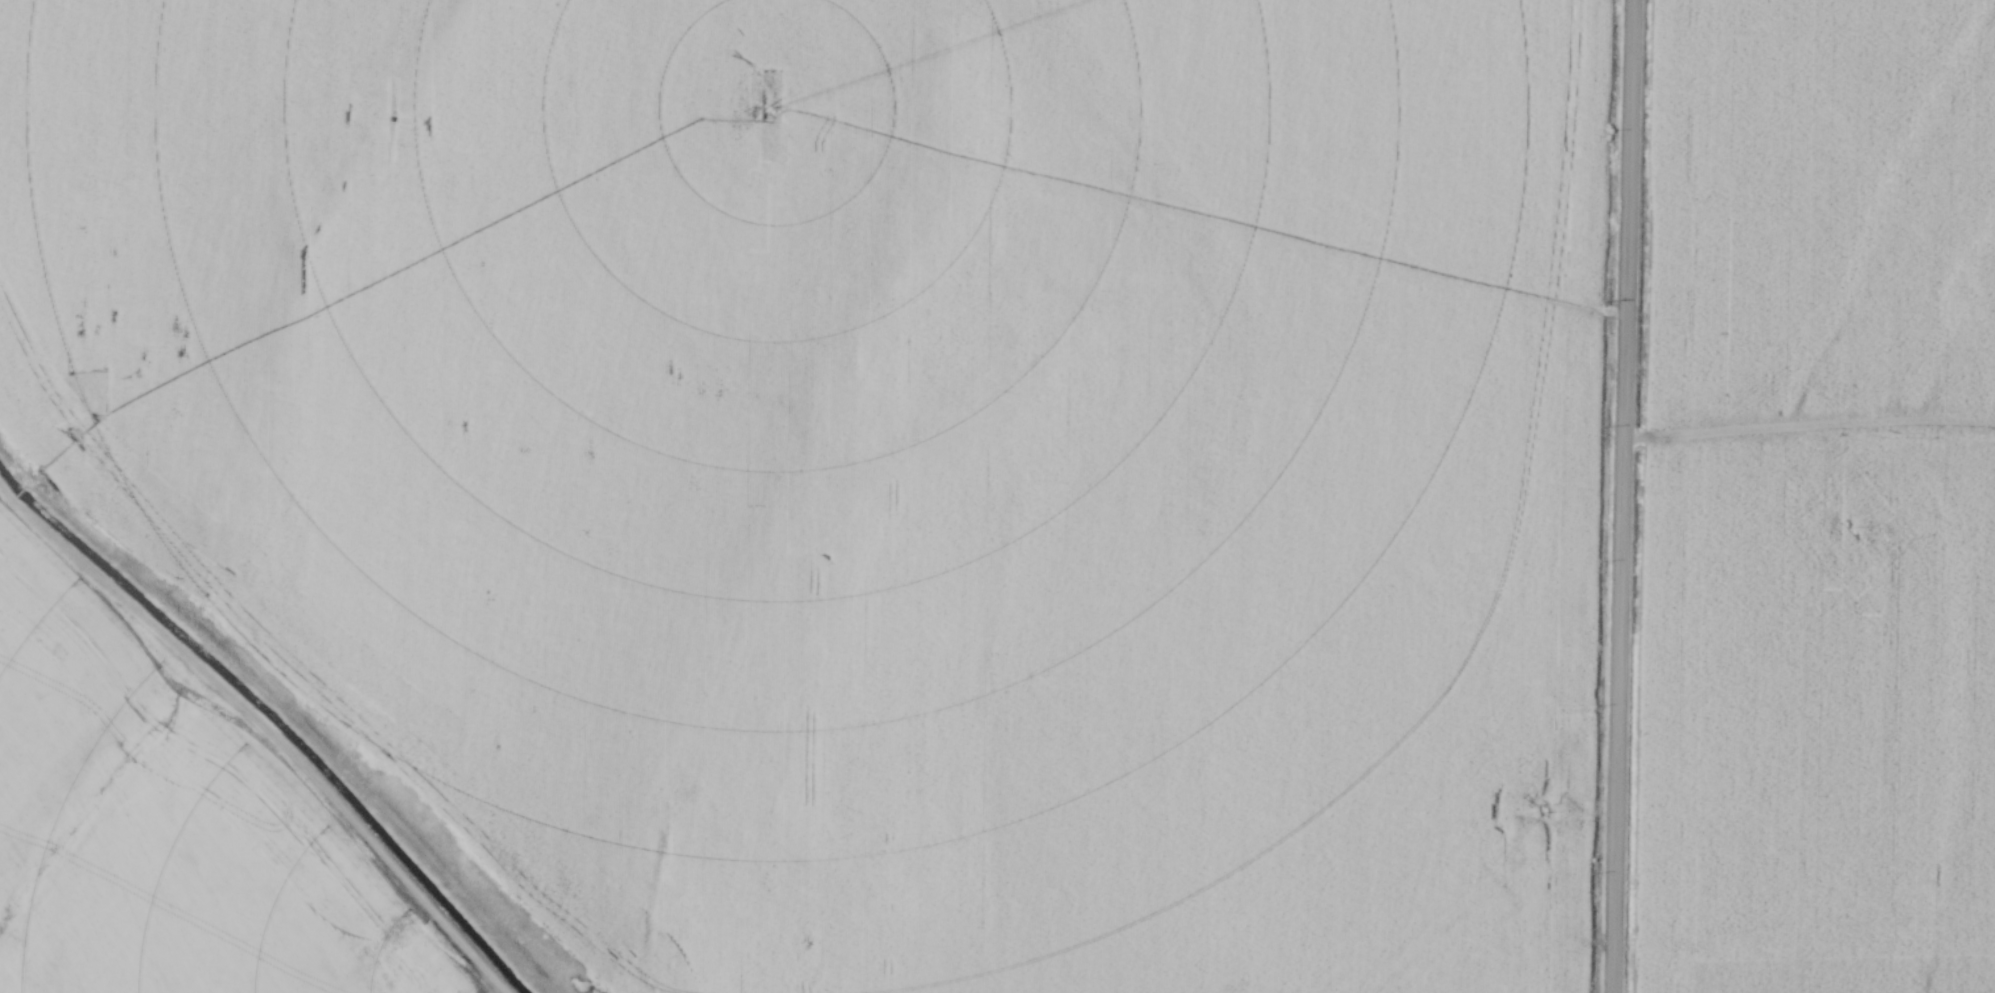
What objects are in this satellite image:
road: (1617, 496)
power tower: (1855, 532)
power tower: (1546, 809)

